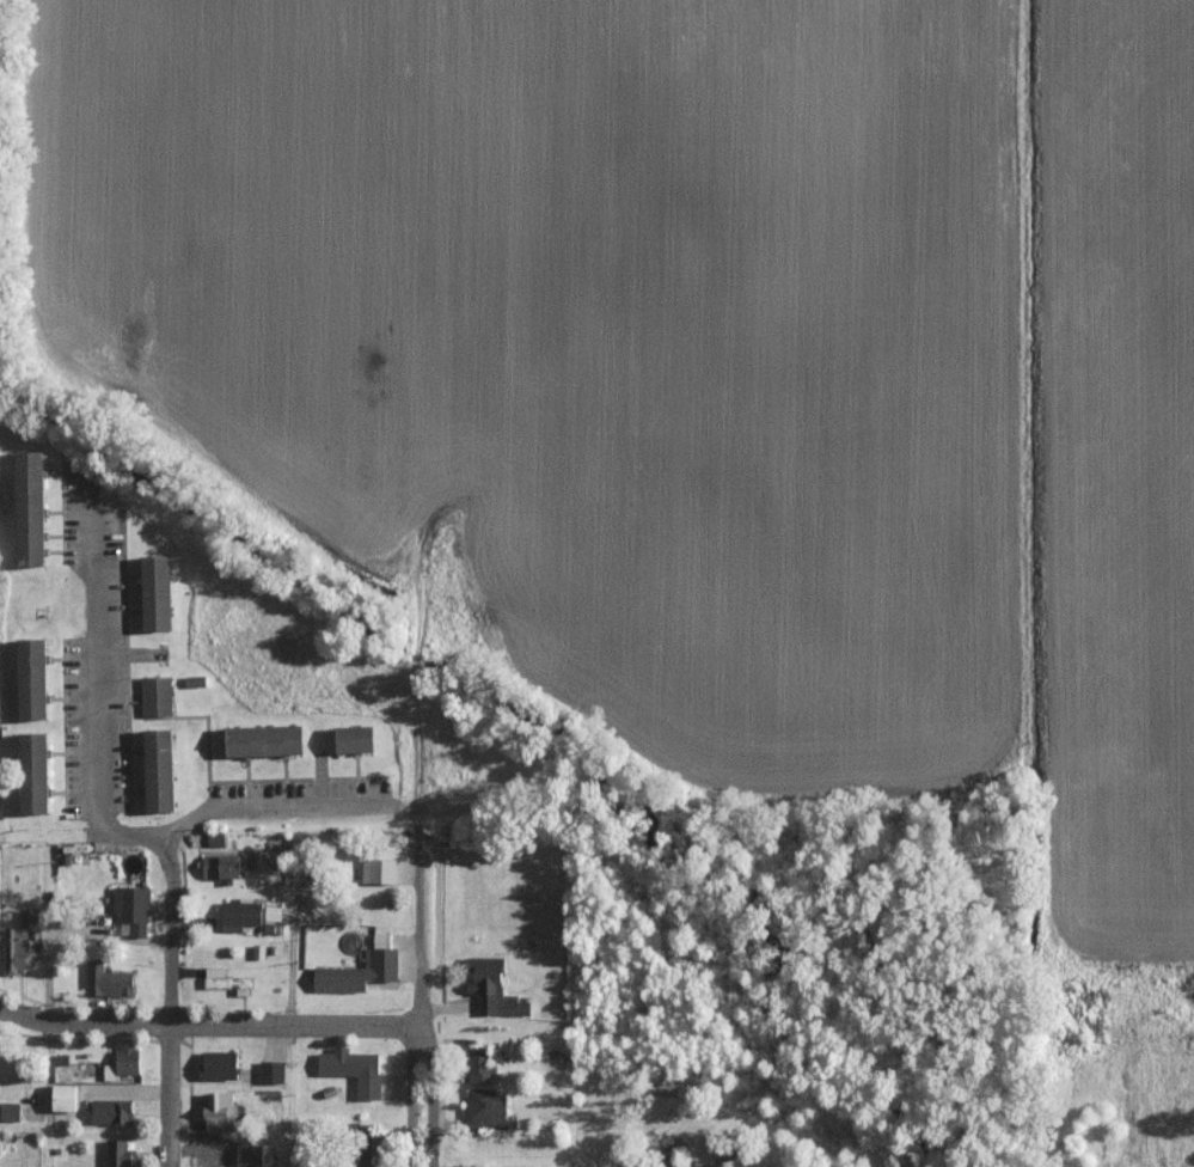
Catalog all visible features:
building: (36, 509)
parking lot: (74, 511)
building: (160, 593)
parking lot: (116, 659)
building: (36, 679)
building: (196, 680)
building: (159, 696)
parking lot: (76, 731)
building: (362, 740)
building: (273, 741)
building: (164, 771)
building: (37, 772)
parking lot: (301, 789)
road: (93, 796)
building: (216, 839)
building: (222, 864)
building: (381, 869)
building: (134, 906)
building: (241, 915)
building: (30, 917)
road: (414, 937)
building: (18, 952)
building: (361, 971)
building: (110, 979)
building: (228, 980)
building: (495, 986)
road: (166, 1006)
road: (203, 1024)
building: (125, 1062)
building: (221, 1064)
building: (479, 1064)
building: (355, 1069)
building: (273, 1071)
road: (430, 1086)
road: (409, 1095)
building: (68, 1096)
building: (220, 1110)
building: (489, 1110)
building: (11, 1111)
building: (114, 1111)
building: (0, 1144)
building: (215, 1151)
building: (121, 1153)
building: (251, 1154)
building: (718, 1166)

